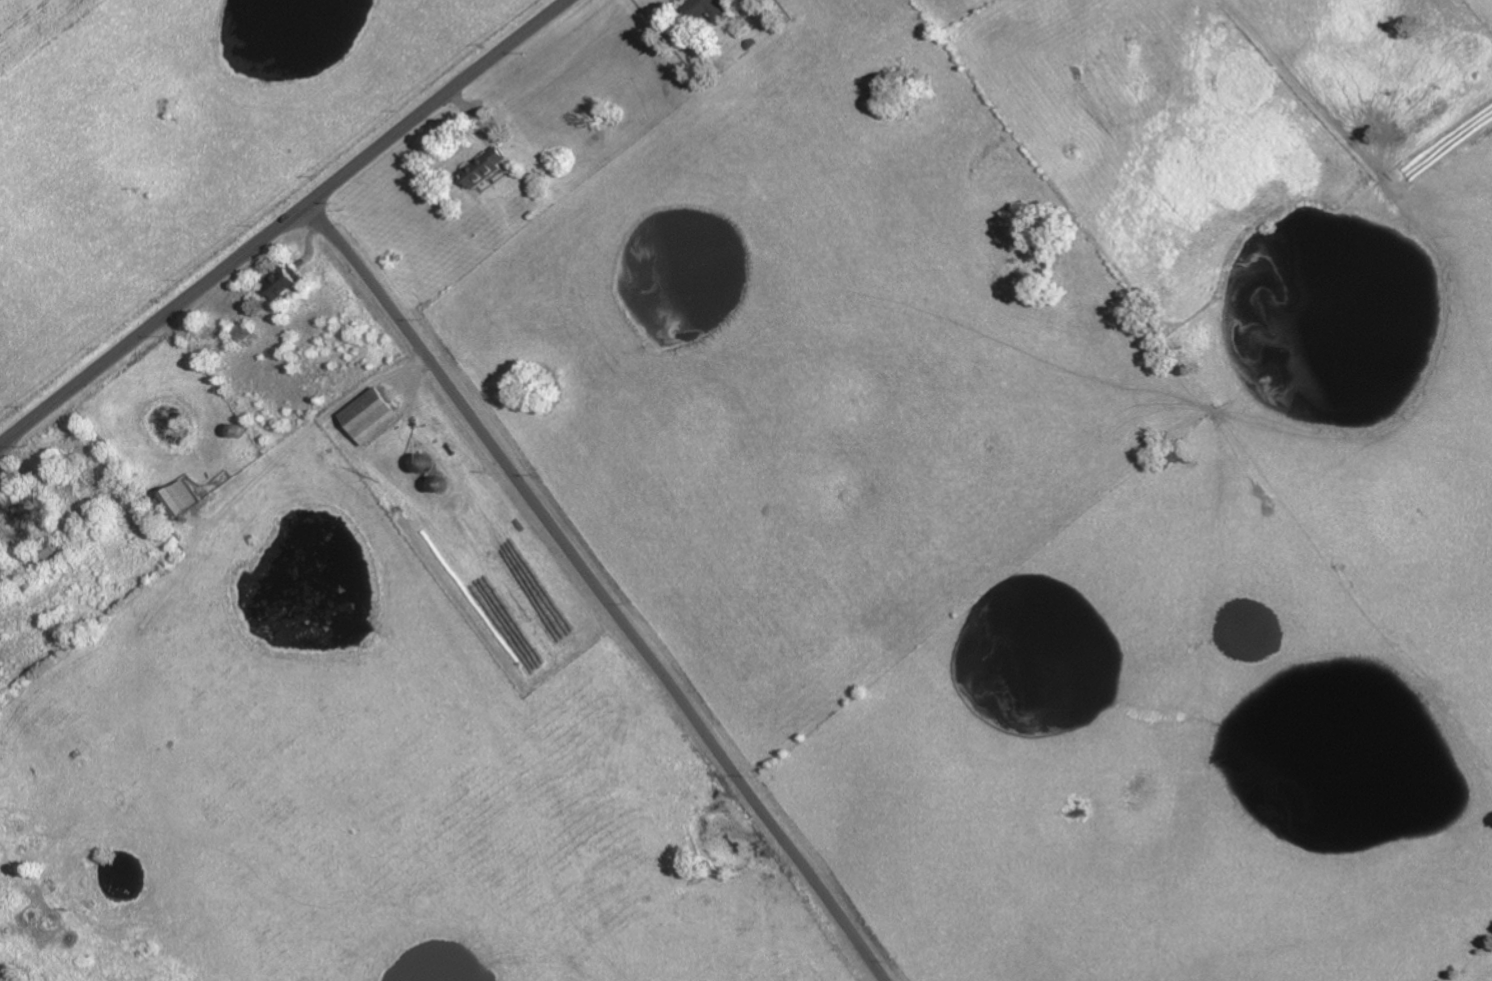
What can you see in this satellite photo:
building: (705, 9)
building: (485, 168)
road: (286, 224)
building: (280, 283)
building: (369, 416)
building: (177, 498)
road: (598, 592)

